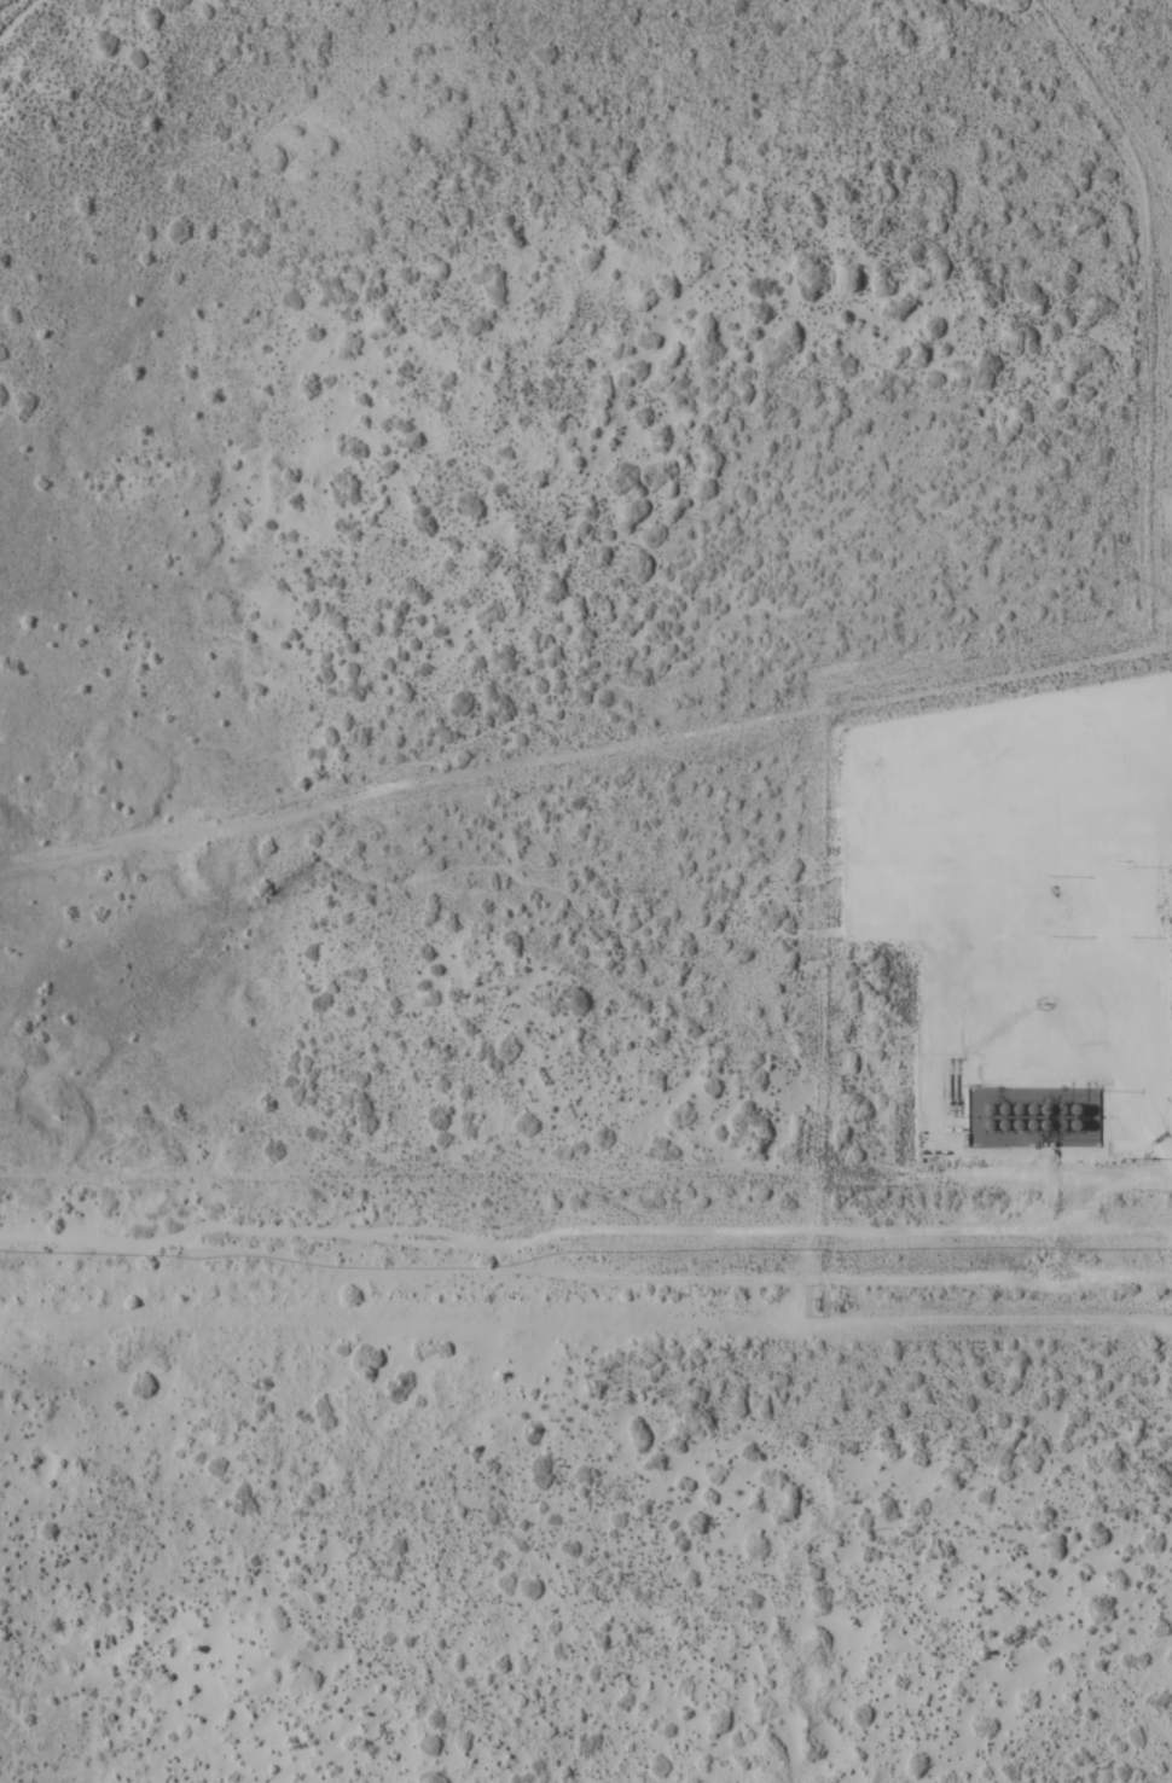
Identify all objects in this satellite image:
road: (1019, 925)

